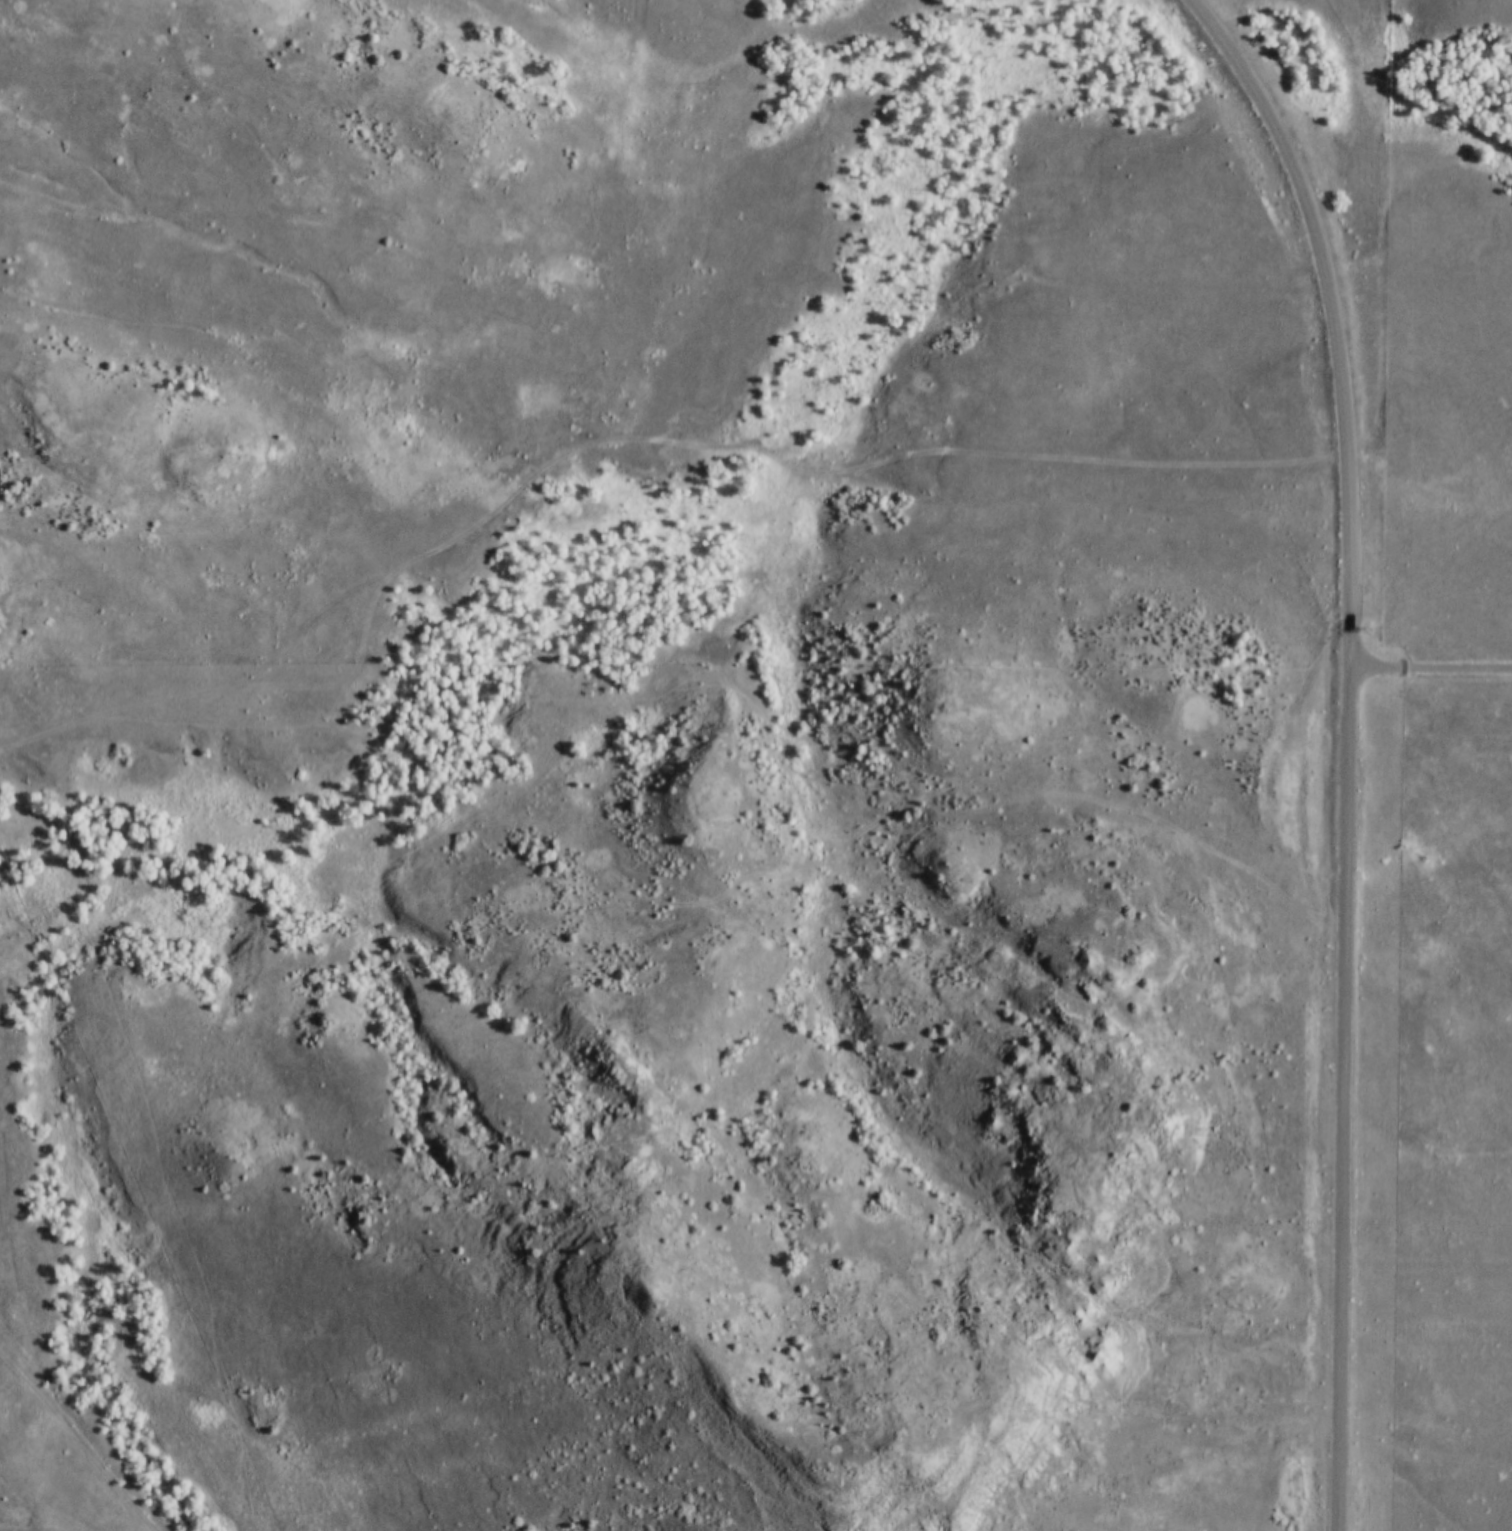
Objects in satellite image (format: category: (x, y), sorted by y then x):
road: (1431, 669)
road: (1349, 747)

